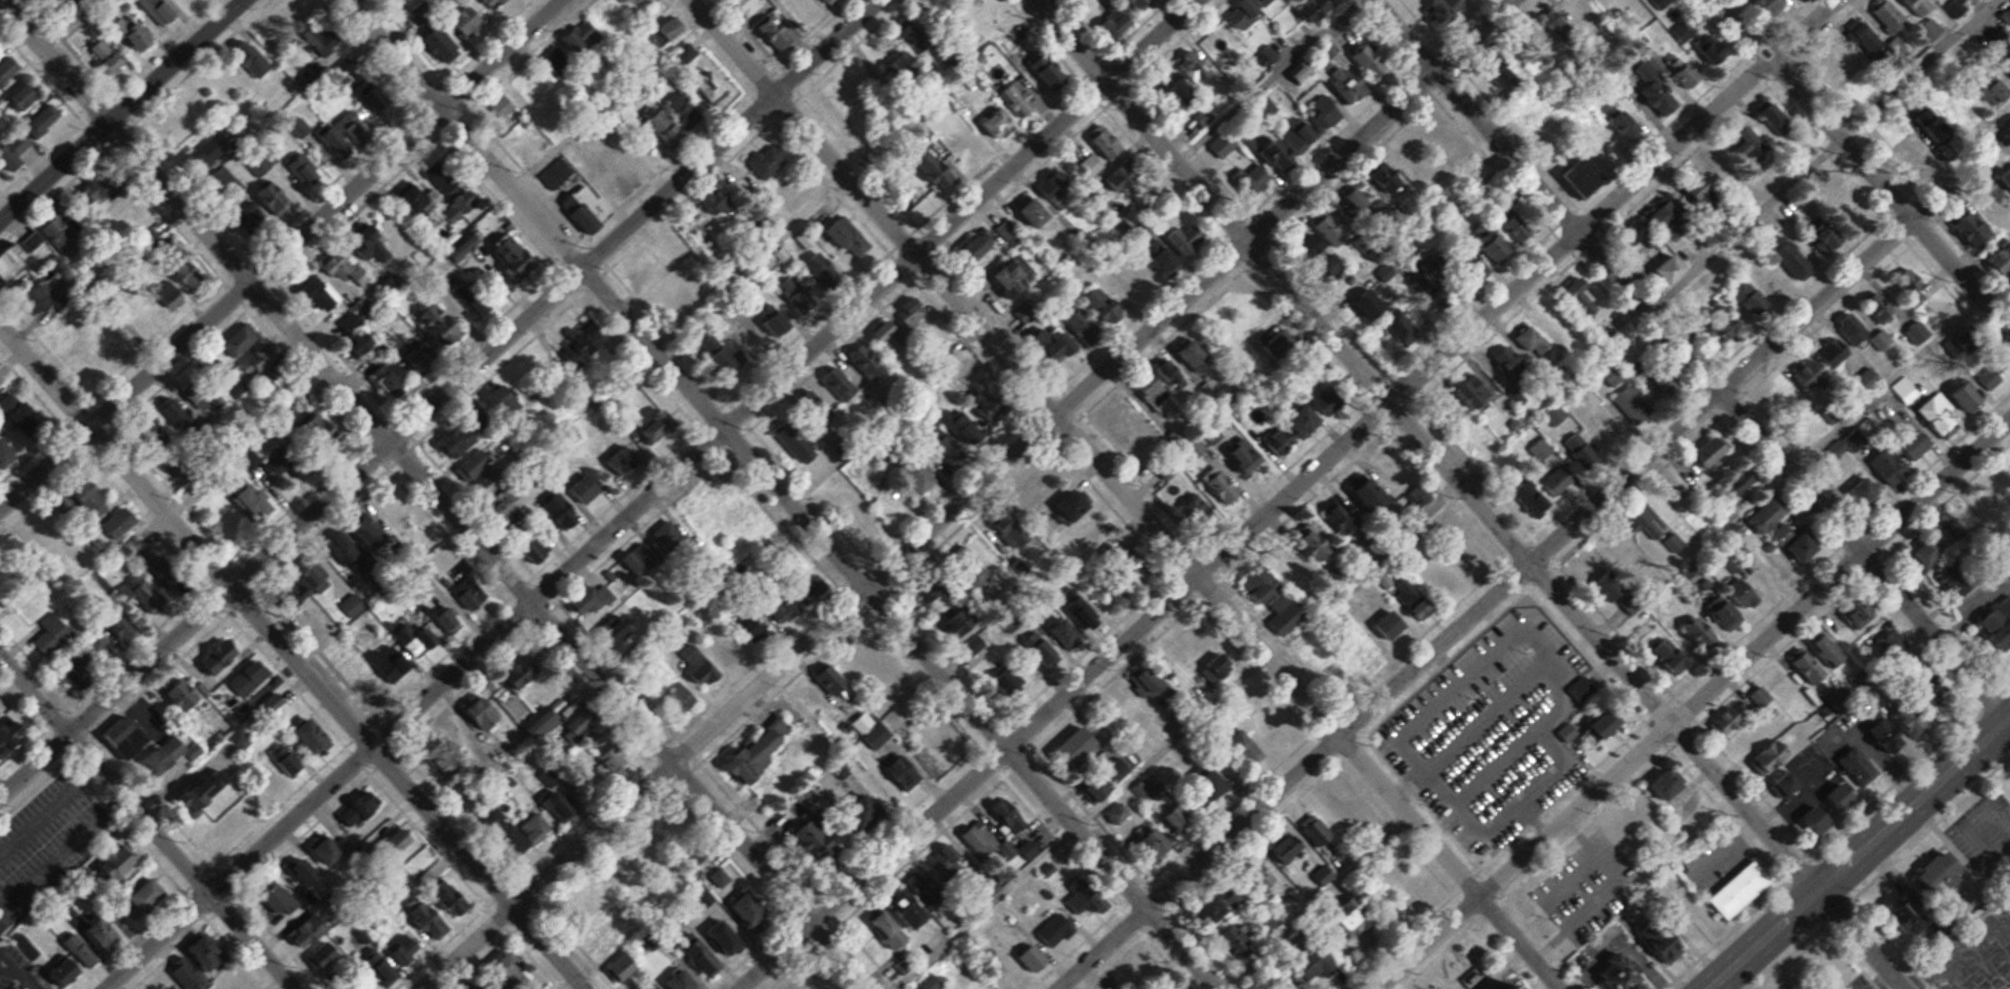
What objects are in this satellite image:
building: (1983, 0)
building: (194, 1)
building: (636, 1)
building: (1129, 1)
building: (830, 2)
building: (1256, 2)
building: (496, 4)
building: (746, 4)
building: (1955, 5)
building: (1764, 6)
building: (1912, 6)
building: (1304, 8)
building: (1435, 8)
building: (162, 11)
building: (292, 14)
building: (1235, 15)
building: (1882, 15)
building: (2004, 15)
building: (466, 18)
building: (1125, 21)
building: (673, 28)
building: (1926, 29)
building: (1544, 31)
building: (134, 34)
building: (775, 34)
building: (582, 37)
building: (1858, 37)
building: (440, 40)
building: (1219, 40)
building: (1704, 49)
building: (688, 53)
building: (108, 58)
building: (253, 59)
building: (558, 59)
building: (1362, 59)
building: (1822, 63)
building: (1488, 69)
building: (7, 70)
building: (1184, 70)
building: (1676, 70)
building: (1050, 72)
building: (1293, 74)
building: (528, 84)
building: (1339, 84)
building: (715, 89)
building: (1988, 90)
building: (1649, 91)
building: (24, 96)
building: (503, 106)
building: (1011, 109)
building: (688, 111)
road: (123, 112)
building: (181, 113)
building: (1318, 113)
building: (1761, 114)
building: (1203, 117)
building: (44, 121)
building: (1616, 123)
building: (301, 128)
building: (669, 131)
building: (1429, 134)
building: (1587, 140)
building: (1107, 141)
building: (1224, 143)
building: (1738, 143)
building: (1279, 148)
building: (18, 151)
building: (1900, 151)
building: (1404, 155)
building: (768, 161)
building: (260, 165)
road: (1865, 165)
building: (558, 174)
building: (1127, 176)
building: (1571, 176)
building: (1378, 177)
building: (620, 178)
building: (1257, 178)
building: (444, 181)
building: (98, 187)
building: (1060, 189)
building: (1692, 193)
building: (800, 194)
building: (417, 199)
building: (1354, 204)
building: (1037, 211)
building: (1658, 214)
building: (120, 215)
building: (1852, 215)
building: (256, 219)
building: (1962, 227)
building: (1006, 230)
building: (1622, 232)
building: (61, 234)
building: (1816, 234)
building: (851, 236)
building: (1190, 237)
building: (1483, 243)
building: (466, 244)
building: (374, 245)
road: (280, 253)
building: (1783, 258)
building: (1996, 258)
building: (1169, 260)
building: (15, 262)
building: (1467, 267)
building: (523, 268)
building: (345, 269)
building: (1659, 269)
building: (191, 274)
building: (1761, 276)
building: (1016, 277)
building: (1901, 281)
building: (312, 290)
building: (40, 294)
building: (1743, 298)
building: (1433, 299)
building: (1574, 301)
building: (1103, 302)
building: (1872, 306)
building: (1934, 309)
building: (1253, 310)
building: (444, 325)
building: (1084, 326)
building: (1845, 328)
building: (890, 331)
building: (1716, 332)
building: (1876, 340)
building: (1527, 341)
building: (239, 342)
building: (1825, 353)
building: (1197, 355)
building: (258, 358)
road: (1691, 360)
building: (1507, 376)
building: (1609, 376)
building: (1797, 376)
building: (1984, 378)
building: (273, 381)
building: (1859, 383)
building: (1154, 388)
building: (1661, 390)
building: (1898, 390)
building: (1464, 392)
building: (500, 396)
building: (1953, 396)
road: (439, 398)
building: (1627, 405)
building: (1436, 409)
building: (22, 413)
building: (1929, 418)
building: (1596, 420)
building: (327, 423)
building: (967, 429)
building: (1212, 436)
building: (460, 442)
building: (1471, 442)
building: (1902, 446)
building: (1197, 447)
building: (1536, 449)
building: (1574, 449)
building: (1703, 450)
building: (1829, 450)
building: (6, 454)
building: (293, 458)
building: (1880, 467)
building: (483, 472)
building: (1730, 482)
building: (1045, 484)
building: (1221, 487)
road: (968, 493)
road: (1287, 493)
building: (1853, 493)
road: (436, 494)
road: (652, 494)
road: (781, 494)
road: (1124, 494)
road: (1469, 494)
building: (1376, 495)
building: (580, 498)
building: (1524, 498)
building: (1411, 499)
building: (95, 501)
building: (258, 501)
building: (1993, 504)
building: (511, 506)
building: (1075, 508)
building: (397, 514)
building: (1189, 515)
building: (1760, 515)
building: (1721, 516)
building: (744, 518)
building: (1635, 522)
building: (121, 523)
building: (1432, 523)
building: (373, 531)
building: (1786, 543)
building: (1606, 545)
building: (16, 548)
building: (538, 550)
building: (1917, 554)
road: (1535, 560)
building: (1457, 565)
building: (632, 569)
building: (1428, 581)
building: (306, 582)
building: (1598, 587)
building: (1734, 593)
building: (146, 594)
building: (472, 595)
building: (590, 600)
building: (1624, 605)
building: (1851, 611)
building: (1715, 614)
building: (1399, 620)
building: (447, 623)
building: (754, 630)
building: (1988, 630)
building: (1067, 632)
building: (1690, 633)
building: (53, 637)
building: (95, 641)
building: (412, 642)
building: (1370, 648)
building: (1820, 649)
building: (1660, 655)
road: (292, 656)
building: (1799, 665)
building: (526, 670)
building: (84, 671)
building: (1338, 675)
building: (360, 677)
building: (833, 682)
building: (1915, 695)
building: (187, 696)
building: (682, 697)
road: (1693, 704)
building: (486, 714)
building: (1723, 717)
building: (1898, 717)
building: (582, 719)
building: (1273, 721)
building: (546, 723)
building: (1592, 725)
building: (872, 730)
building: (6, 736)
building: (1742, 736)
building: (1873, 736)
building: (129, 737)
building: (1082, 744)
building: (769, 746)
building: (171, 755)
building: (612, 757)
building: (1761, 757)
building: (444, 761)
building: (1850, 765)
building: (282, 766)
building: (1656, 783)
building: (1776, 783)
building: (209, 792)
building: (1827, 798)
building: (1686, 814)
road: (147, 821)
building: (1805, 822)
building: (231, 827)
building: (536, 829)
building: (504, 831)
building: (1316, 831)
building: (1161, 843)
building: (988, 844)
building: (1292, 848)
road: (1860, 853)
building: (121, 862)
building: (951, 863)
building: (1928, 875)
building: (1262, 885)
building: (1730, 889)
building: (150, 896)
building: (588, 900)
building: (919, 901)
building: (1227, 906)
building: (1352, 914)
building: (1894, 916)
building: (1681, 919)
building: (0, 921)
building: (0, 924)
building: (892, 931)
building: (1058, 931)
building: (107, 933)
building: (731, 939)
building: (1235, 941)
building: (1653, 950)
building: (211, 957)
building: (705, 959)
building: (1319, 960)
building: (74, 962)
building: (1609, 973)
building: (679, 978)
building: (239, 984)
building: (44, 986)

